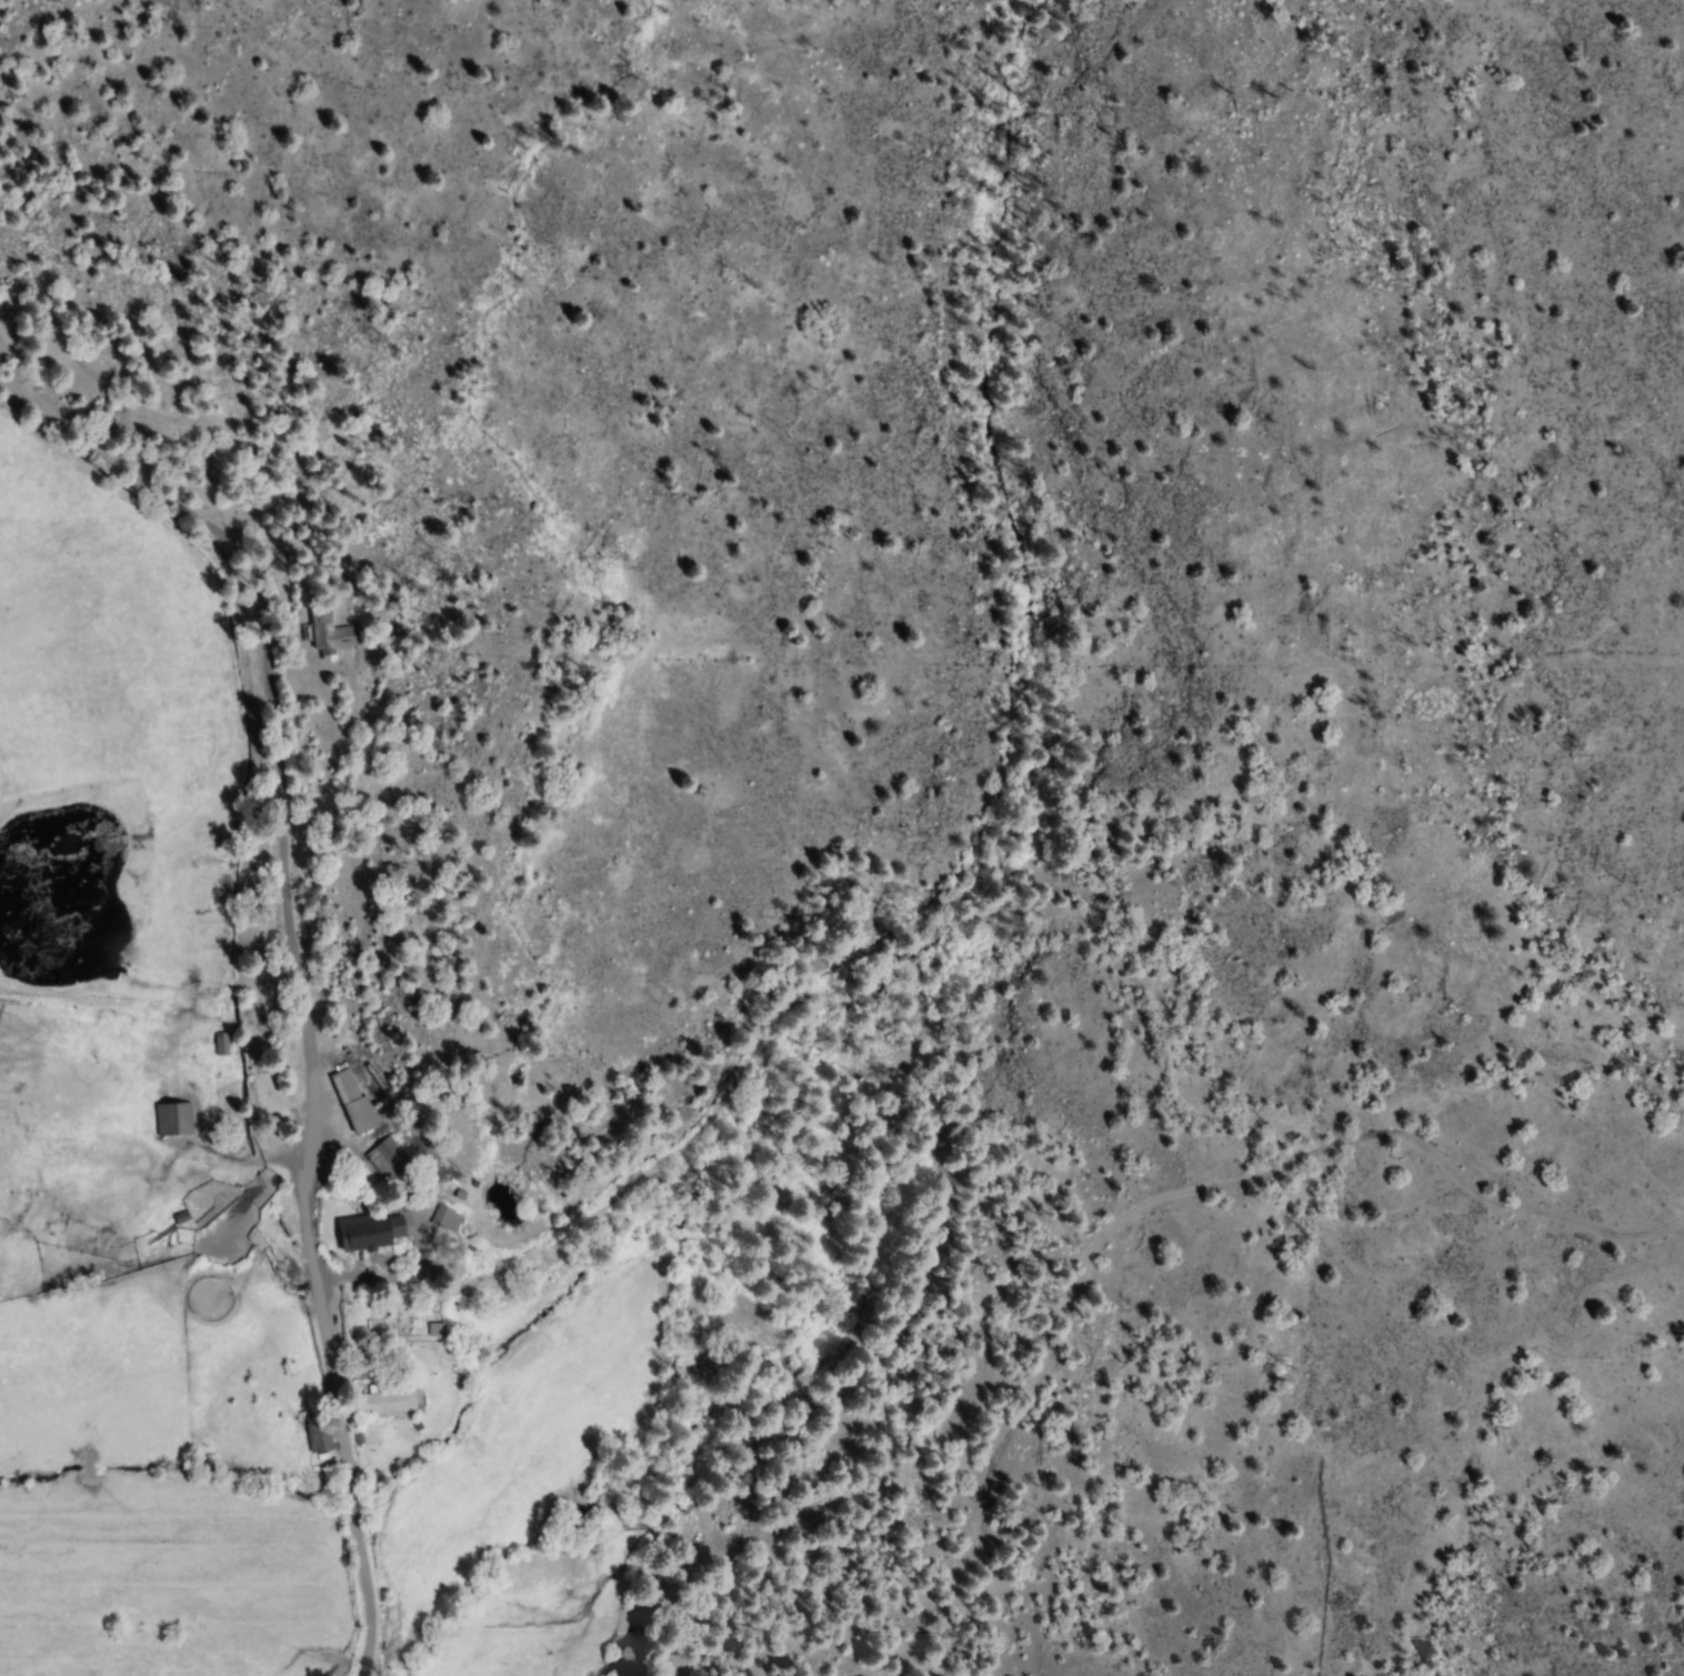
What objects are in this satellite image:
road: (293, 833)
road: (1170, 1180)

